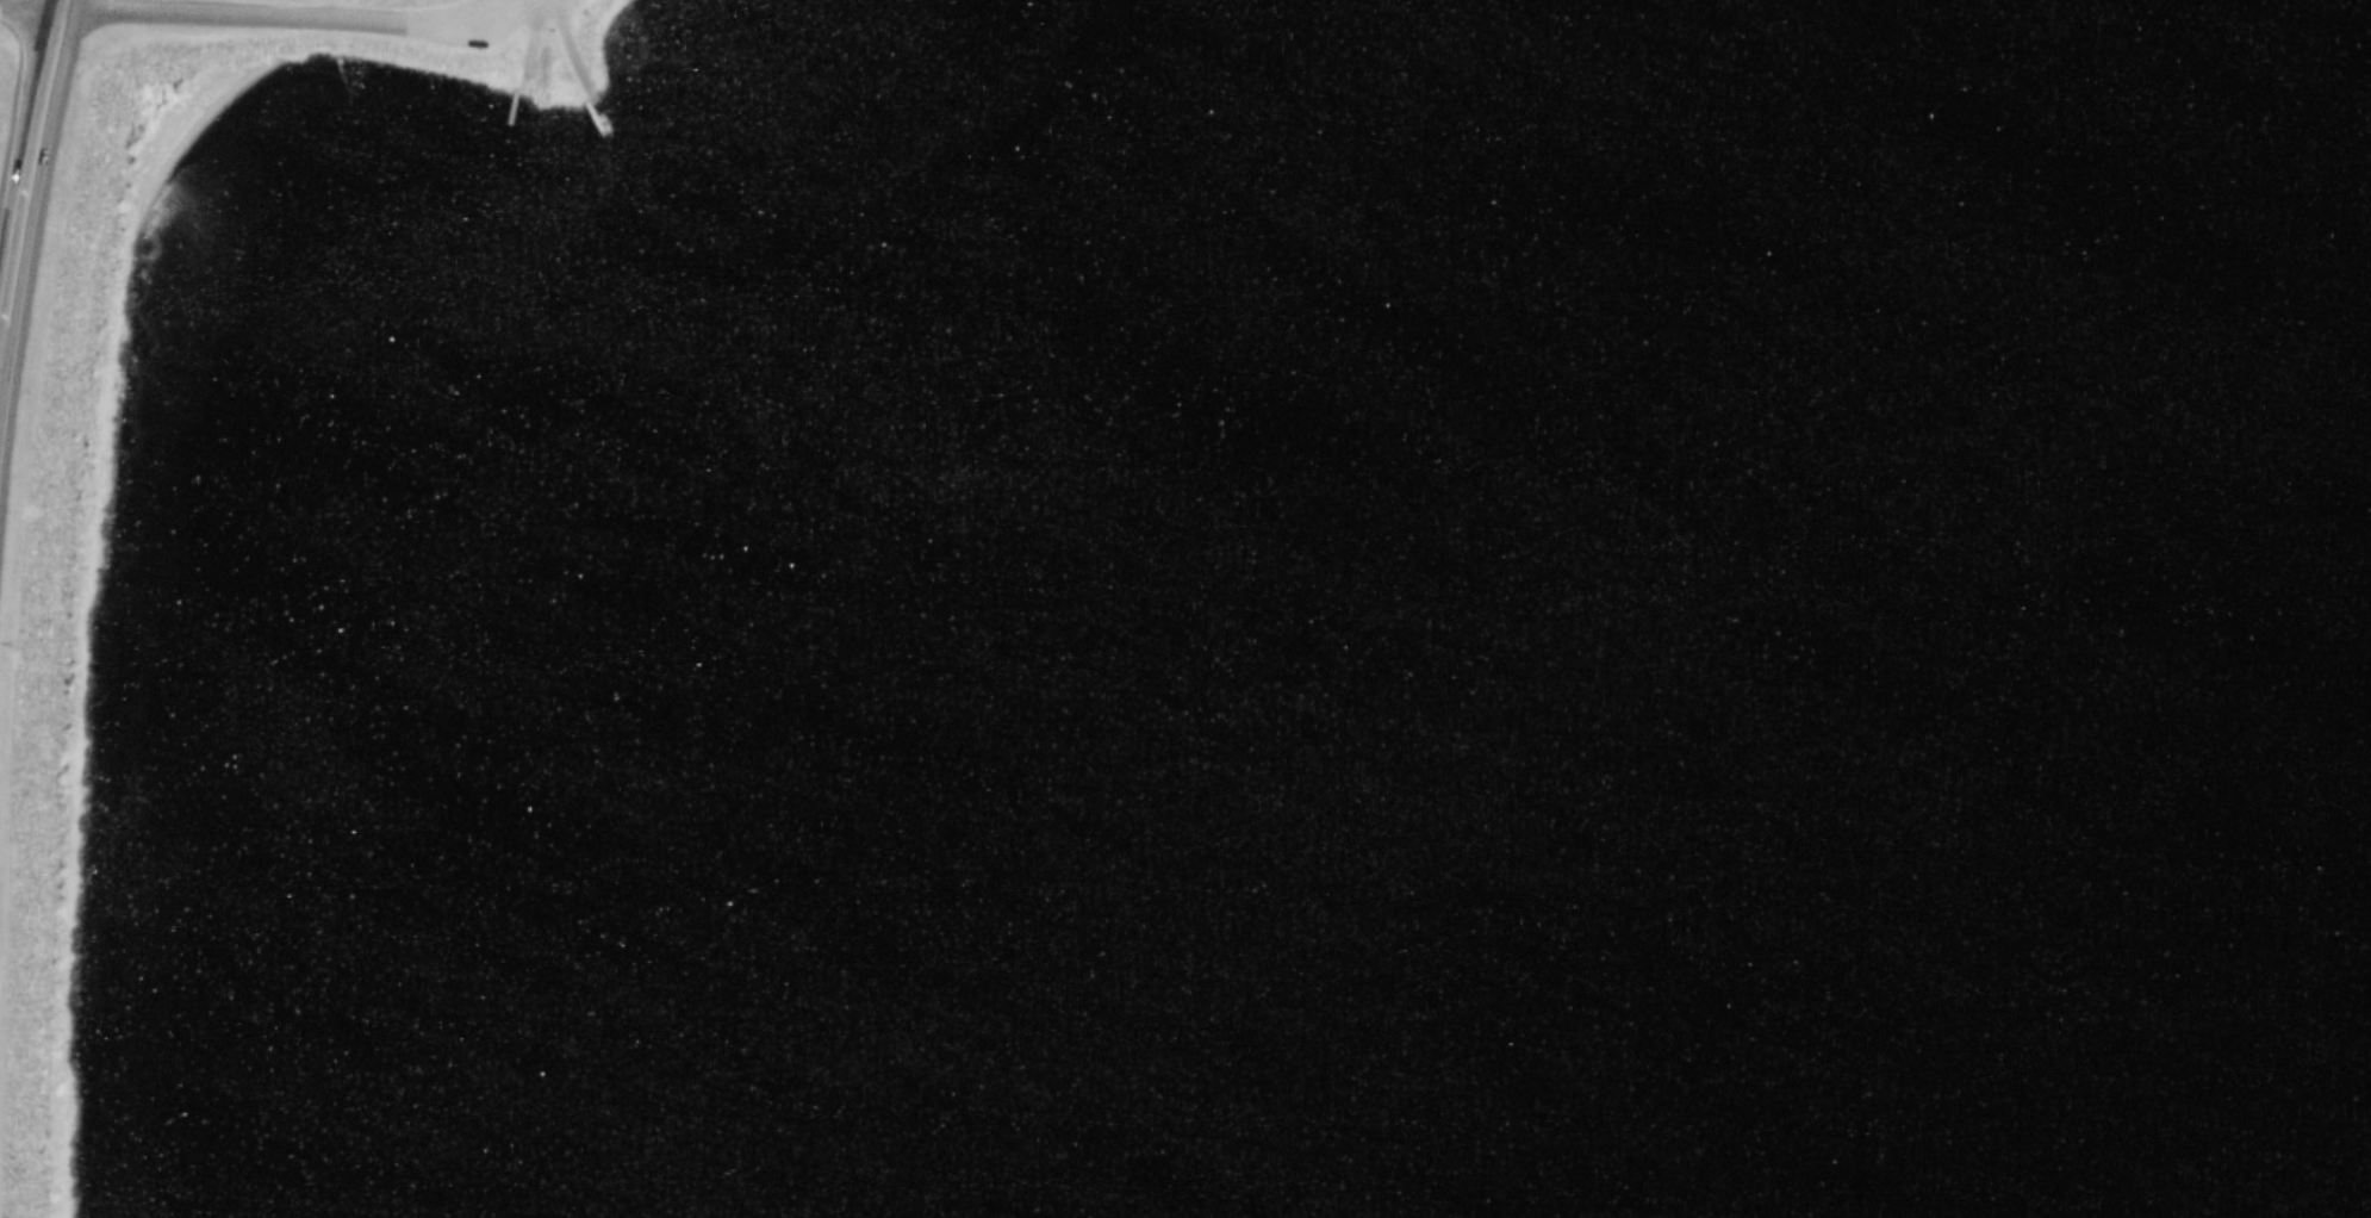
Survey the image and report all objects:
road: (73, 1)
road: (116, 166)
road: (50, 773)

